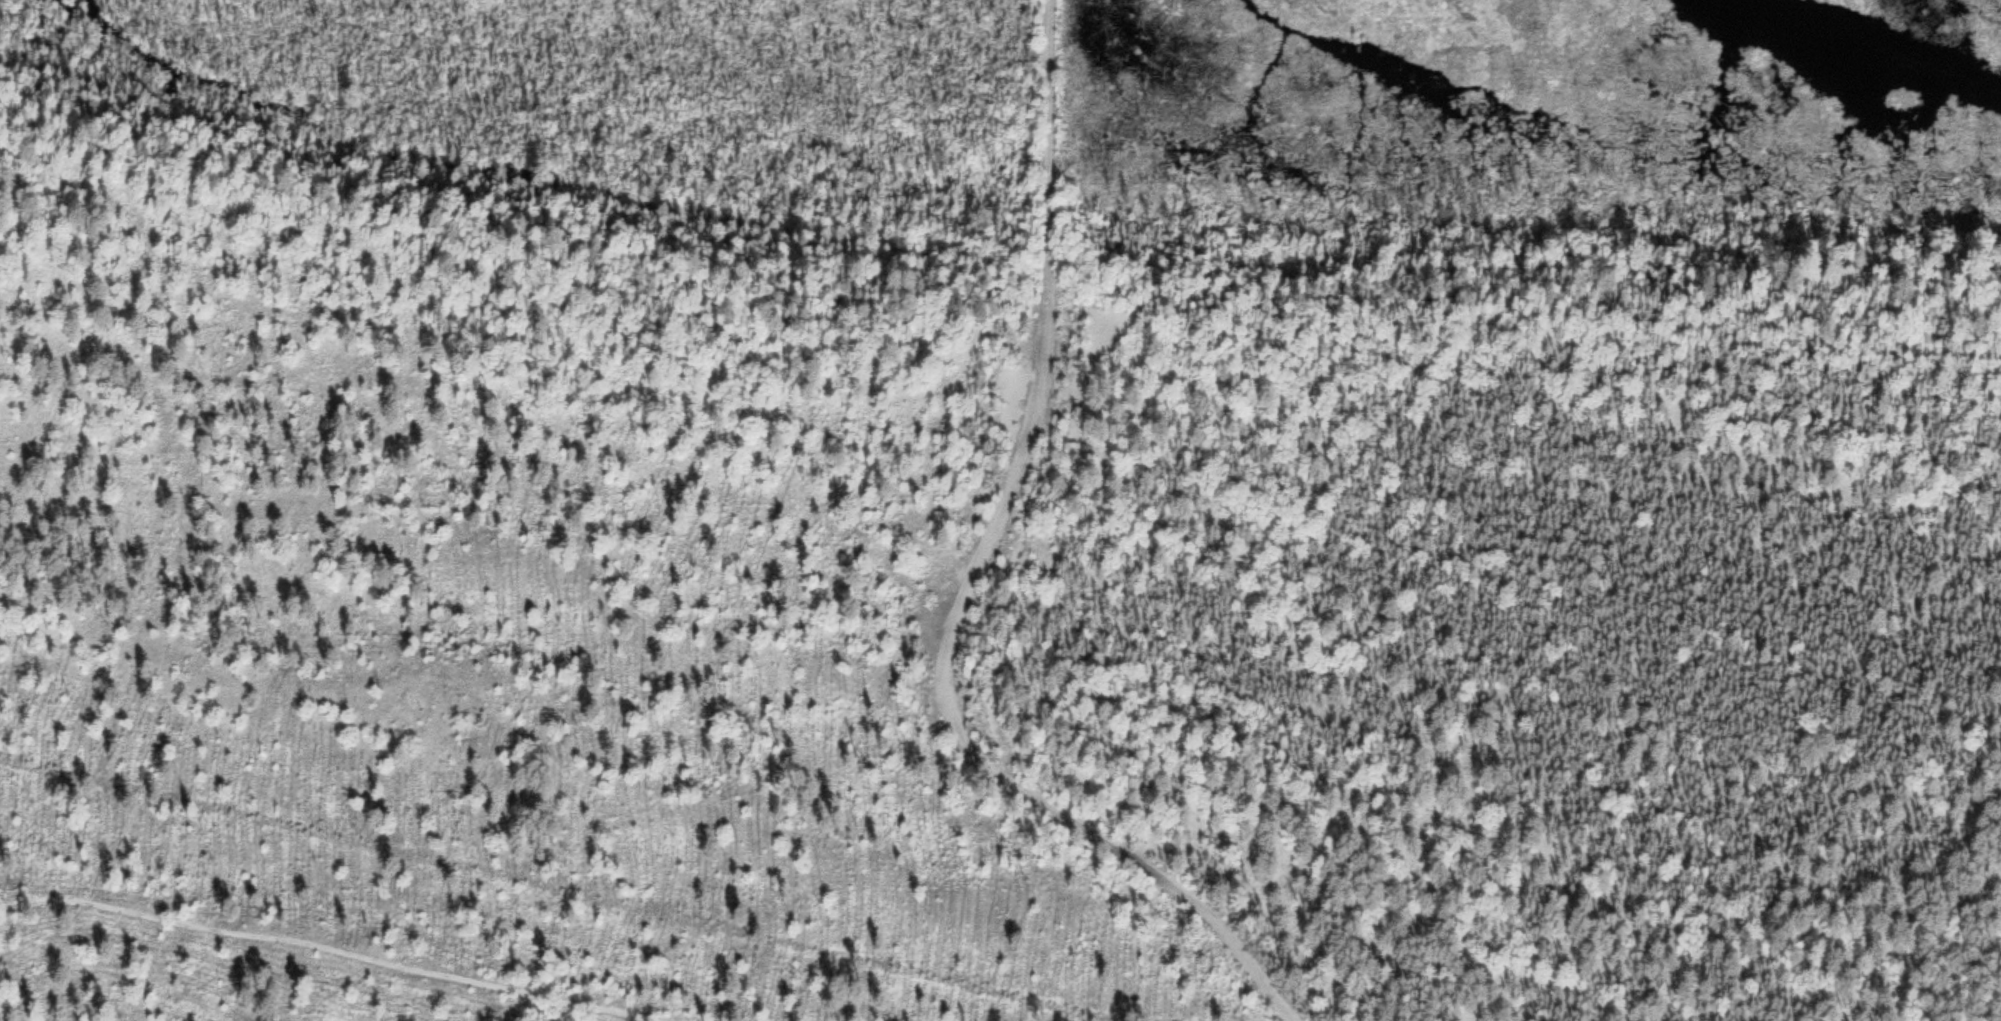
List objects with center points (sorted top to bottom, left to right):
road: (964, 589)
road: (281, 968)

